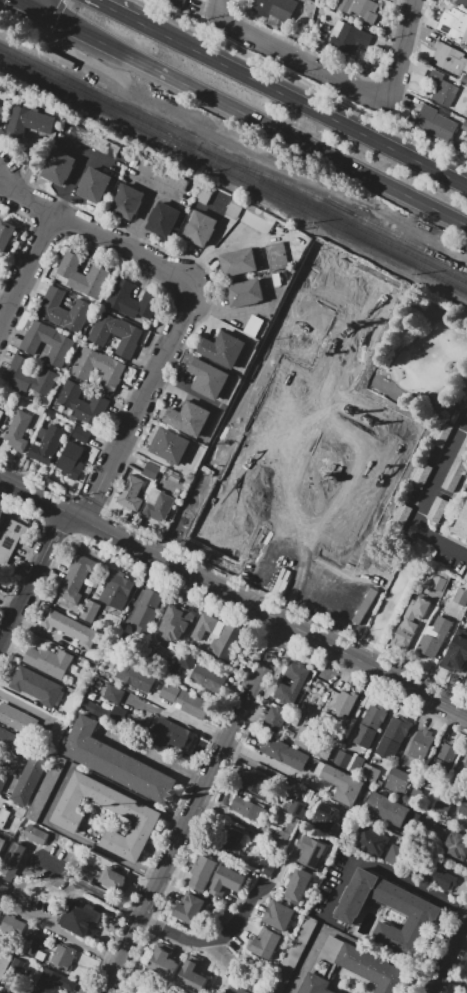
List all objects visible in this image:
building: (178, 2)
building: (462, 2)
road: (29, 3)
road: (37, 3)
road: (203, 7)
road: (216, 7)
building: (275, 8)
building: (309, 8)
building: (360, 9)
road: (116, 10)
road: (54, 15)
building: (454, 23)
building: (349, 36)
road: (402, 52)
road: (413, 53)
road: (302, 56)
building: (449, 58)
road: (335, 64)
road: (301, 81)
building: (441, 88)
road: (302, 102)
building: (2, 112)
road: (250, 117)
building: (29, 121)
building: (436, 123)
building: (464, 125)
building: (94, 140)
road: (87, 154)
road: (30, 162)
railway: (233, 165)
building: (58, 167)
railway: (233, 174)
building: (163, 175)
building: (93, 184)
road: (72, 185)
road: (155, 189)
building: (204, 193)
building: (127, 201)
railway: (335, 206)
building: (250, 215)
building: (162, 219)
road: (140, 220)
building: (200, 228)
building: (5, 234)
road: (216, 243)
building: (276, 255)
building: (238, 261)
road: (26, 269)
building: (69, 269)
building: (91, 281)
building: (245, 292)
building: (120, 295)
road: (5, 301)
road: (188, 301)
building: (144, 305)
building: (63, 309)
road: (228, 313)
road: (218, 324)
road: (466, 328)
building: (116, 333)
building: (47, 342)
road: (402, 346)
building: (222, 349)
park: (417, 355)
building: (99, 368)
road: (397, 372)
road: (451, 375)
building: (29, 376)
building: (207, 378)
road: (185, 391)
building: (83, 403)
road: (434, 403)
building: (1, 412)
building: (188, 417)
road: (450, 420)
building: (17, 430)
building: (81, 434)
building: (440, 434)
building: (46, 444)
building: (169, 445)
building: (71, 460)
road: (162, 461)
building: (456, 468)
building: (150, 470)
building: (420, 475)
building: (175, 478)
building: (130, 492)
building: (202, 495)
road: (424, 502)
building: (159, 506)
building: (437, 509)
building: (400, 514)
building: (227, 521)
building: (261, 523)
building: (461, 525)
building: (13, 534)
building: (4, 557)
building: (81, 566)
building: (465, 577)
road: (33, 580)
building: (313, 580)
building: (438, 580)
building: (70, 589)
building: (117, 590)
road: (384, 594)
road: (233, 595)
building: (334, 595)
building: (460, 596)
road: (10, 603)
building: (356, 607)
building: (146, 609)
building: (89, 610)
building: (176, 622)
building: (408, 622)
building: (206, 626)
building: (68, 627)
road: (418, 631)
road: (46, 635)
building: (433, 636)
building: (227, 642)
road: (444, 643)
building: (456, 650)
building: (49, 660)
building: (296, 673)
building: (134, 677)
building: (206, 677)
building: (466, 677)
building: (24, 679)
building: (47, 691)
building: (286, 693)
building: (113, 694)
road: (23, 695)
building: (92, 697)
road: (152, 699)
building: (183, 700)
building: (343, 704)
road: (25, 706)
building: (4, 711)
building: (103, 711)
road: (180, 716)
building: (373, 717)
building: (13, 719)
building: (274, 719)
building: (25, 724)
building: (398, 729)
building: (36, 730)
building: (58, 731)
building: (172, 735)
building: (3, 736)
building: (304, 737)
building: (363, 737)
building: (420, 744)
building: (12, 745)
building: (387, 747)
building: (282, 752)
road: (151, 756)
building: (342, 759)
building: (115, 762)
road: (9, 763)
road: (268, 763)
building: (466, 763)
building: (439, 764)
building: (355, 767)
road: (17, 769)
building: (369, 773)
building: (31, 776)
building: (3, 778)
building: (398, 780)
building: (340, 783)
building: (261, 785)
road: (56, 793)
road: (6, 804)
road: (190, 806)
building: (441, 807)
building: (463, 807)
building: (295, 808)
building: (248, 810)
building: (387, 810)
building: (3, 817)
building: (326, 818)
building: (66, 819)
building: (436, 832)
building: (35, 834)
building: (281, 838)
building: (230, 839)
building: (371, 840)
building: (2, 843)
building: (457, 844)
building: (14, 854)
building: (312, 854)
building: (396, 854)
building: (267, 864)
road: (442, 865)
road: (381, 870)
building: (7, 871)
building: (201, 873)
building: (436, 875)
building: (106, 876)
road: (22, 879)
building: (224, 881)
building: (297, 887)
building: (2, 890)
building: (190, 908)
building: (420, 912)
building: (279, 916)
building: (79, 922)
road: (343, 937)
road: (210, 942)
road: (462, 943)
building: (268, 946)
building: (36, 947)
road: (219, 950)
road: (449, 956)
building: (63, 957)
building: (162, 960)
building: (373, 969)
building: (192, 974)
building: (466, 977)
building: (466, 978)
road: (454, 979)
building: (53, 982)
building: (315, 984)
building: (146, 988)
building: (235, 989)

